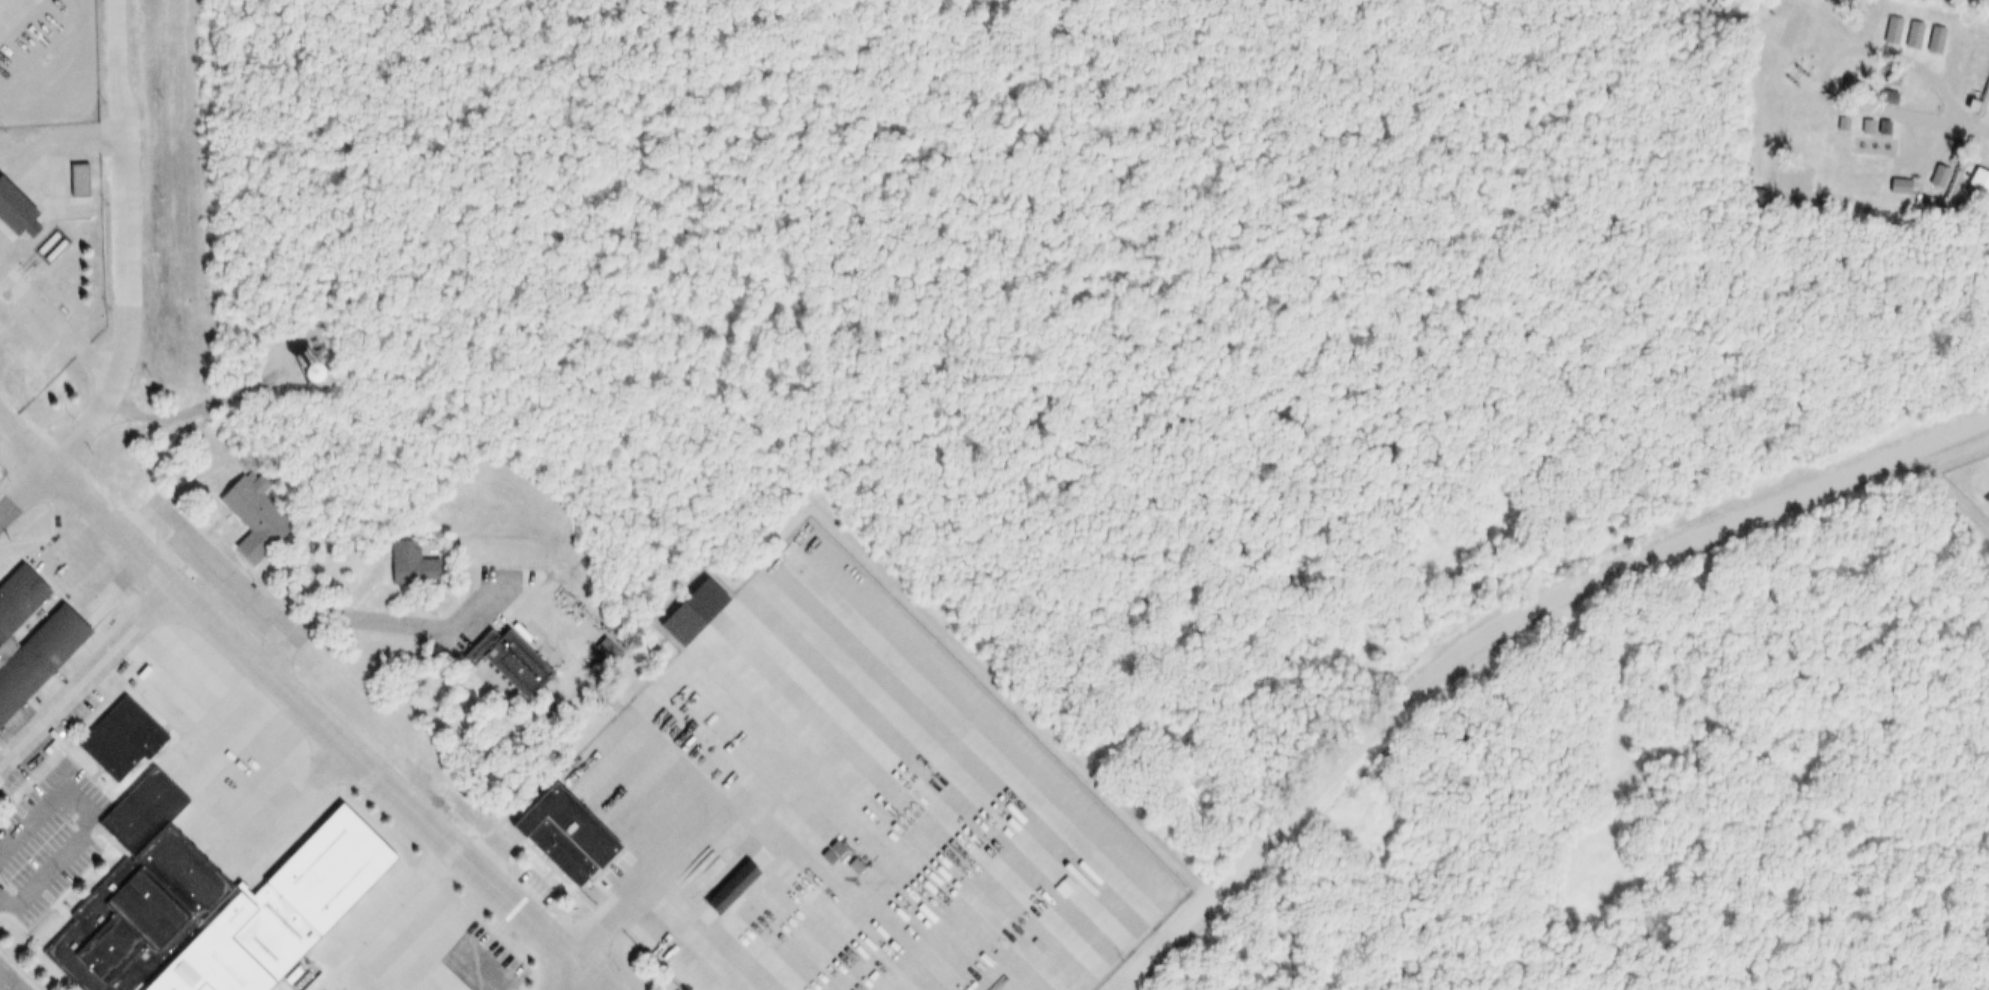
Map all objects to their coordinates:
road: (6, 7)
building: (1884, 29)
building: (1907, 35)
building: (1928, 40)
building: (1886, 79)
building: (1880, 95)
building: (1962, 103)
building: (1836, 122)
building: (1860, 125)
building: (1876, 127)
road: (125, 153)
building: (1954, 155)
building: (1934, 176)
building: (73, 180)
building: (1975, 180)
building: (1893, 185)
building: (10, 210)
building: (25, 229)
road: (61, 325)
water tower: (267, 355)
water tower: (298, 371)
building: (304, 379)
road: (196, 397)
road: (90, 424)
road: (27, 442)
building: (246, 514)
building: (404, 564)
building: (682, 609)
road: (376, 619)
road: (1500, 620)
building: (29, 634)
building: (503, 663)
road: (85, 671)
road: (328, 734)
parking lot: (851, 808)
road: (77, 821)
building: (555, 835)
parking lot: (46, 844)
building: (127, 851)
building: (850, 867)
building: (267, 919)
road: (568, 973)
road: (8, 982)
parking lot: (334, 987)

